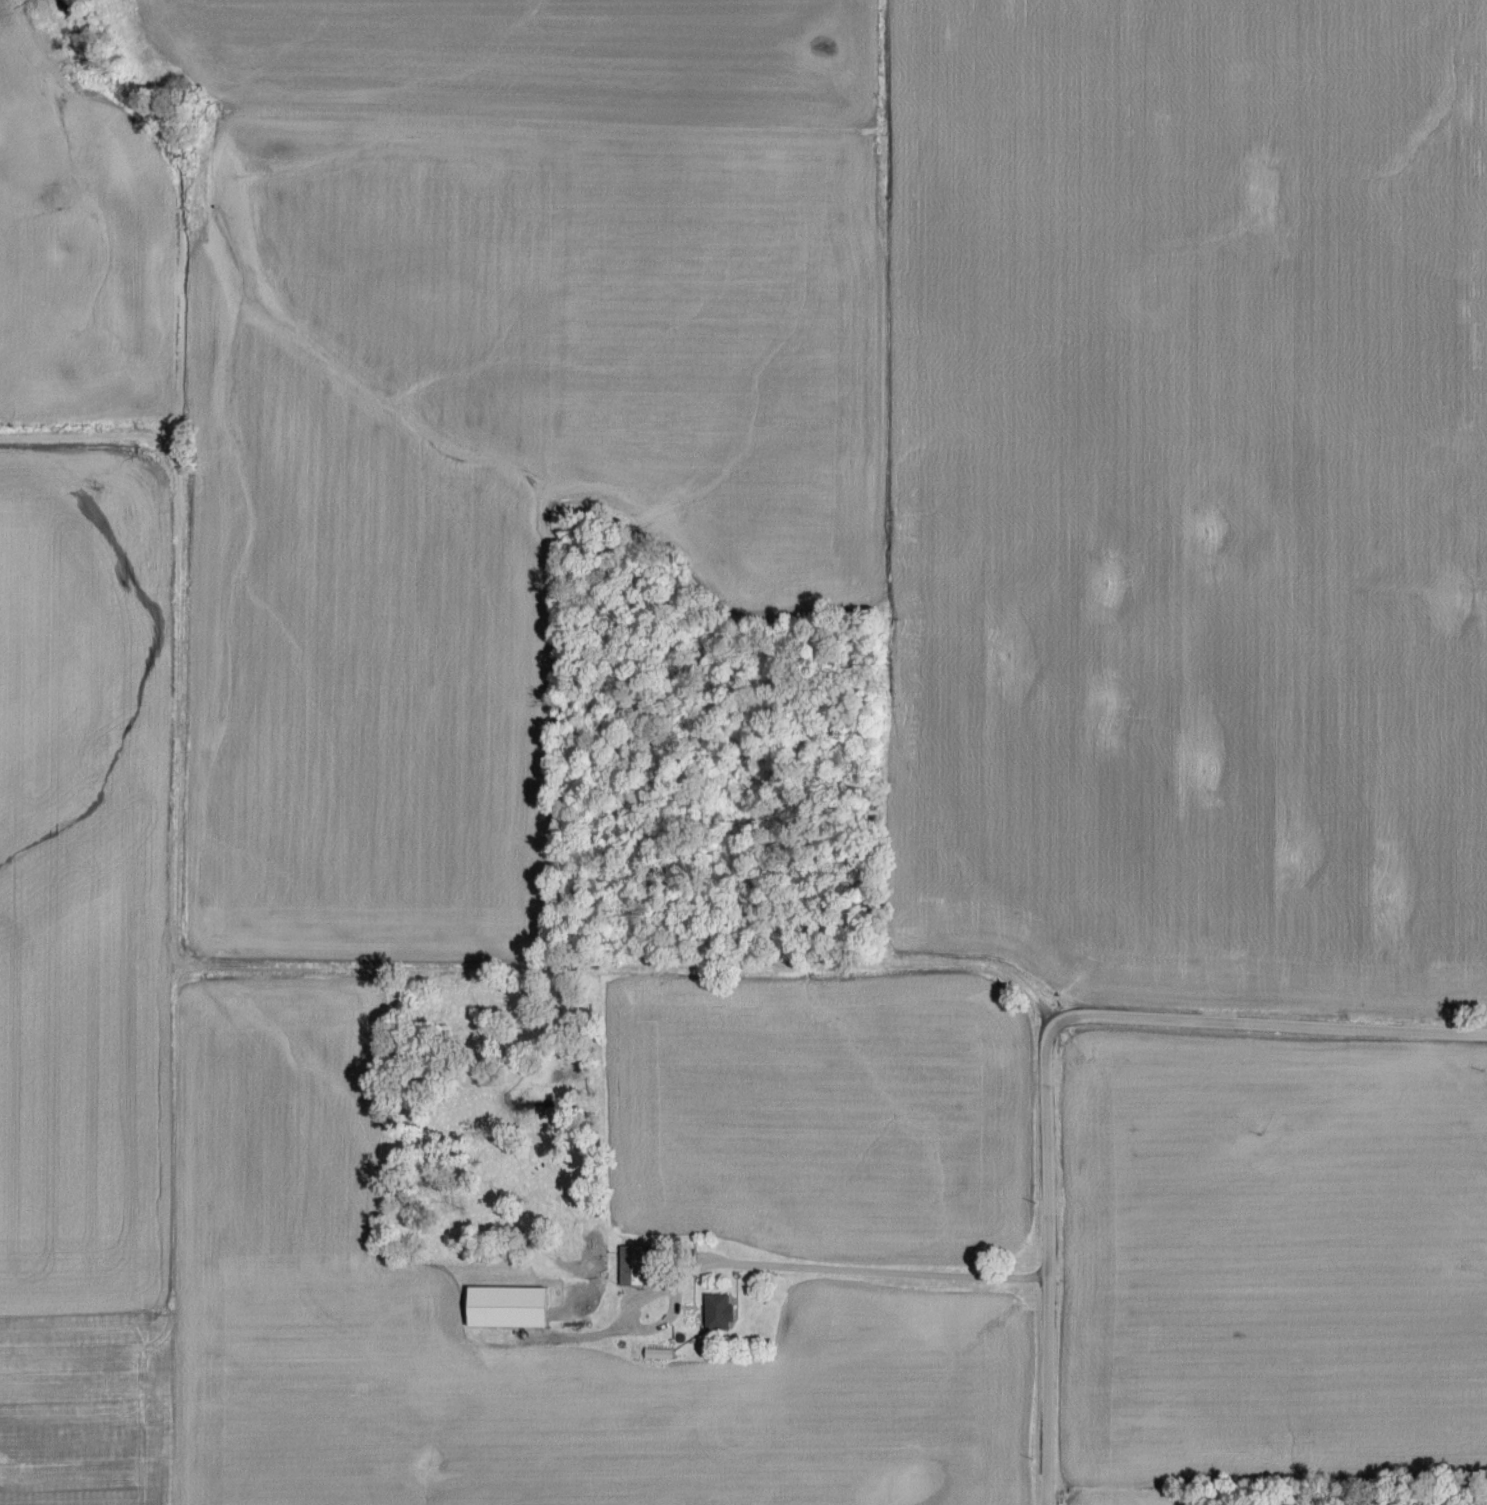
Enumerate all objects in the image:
road: (872, 482)
road: (288, 966)
road: (1270, 1026)
road: (1047, 1261)
building: (632, 1267)
road: (881, 1272)
building: (718, 1312)
building: (566, 1313)

